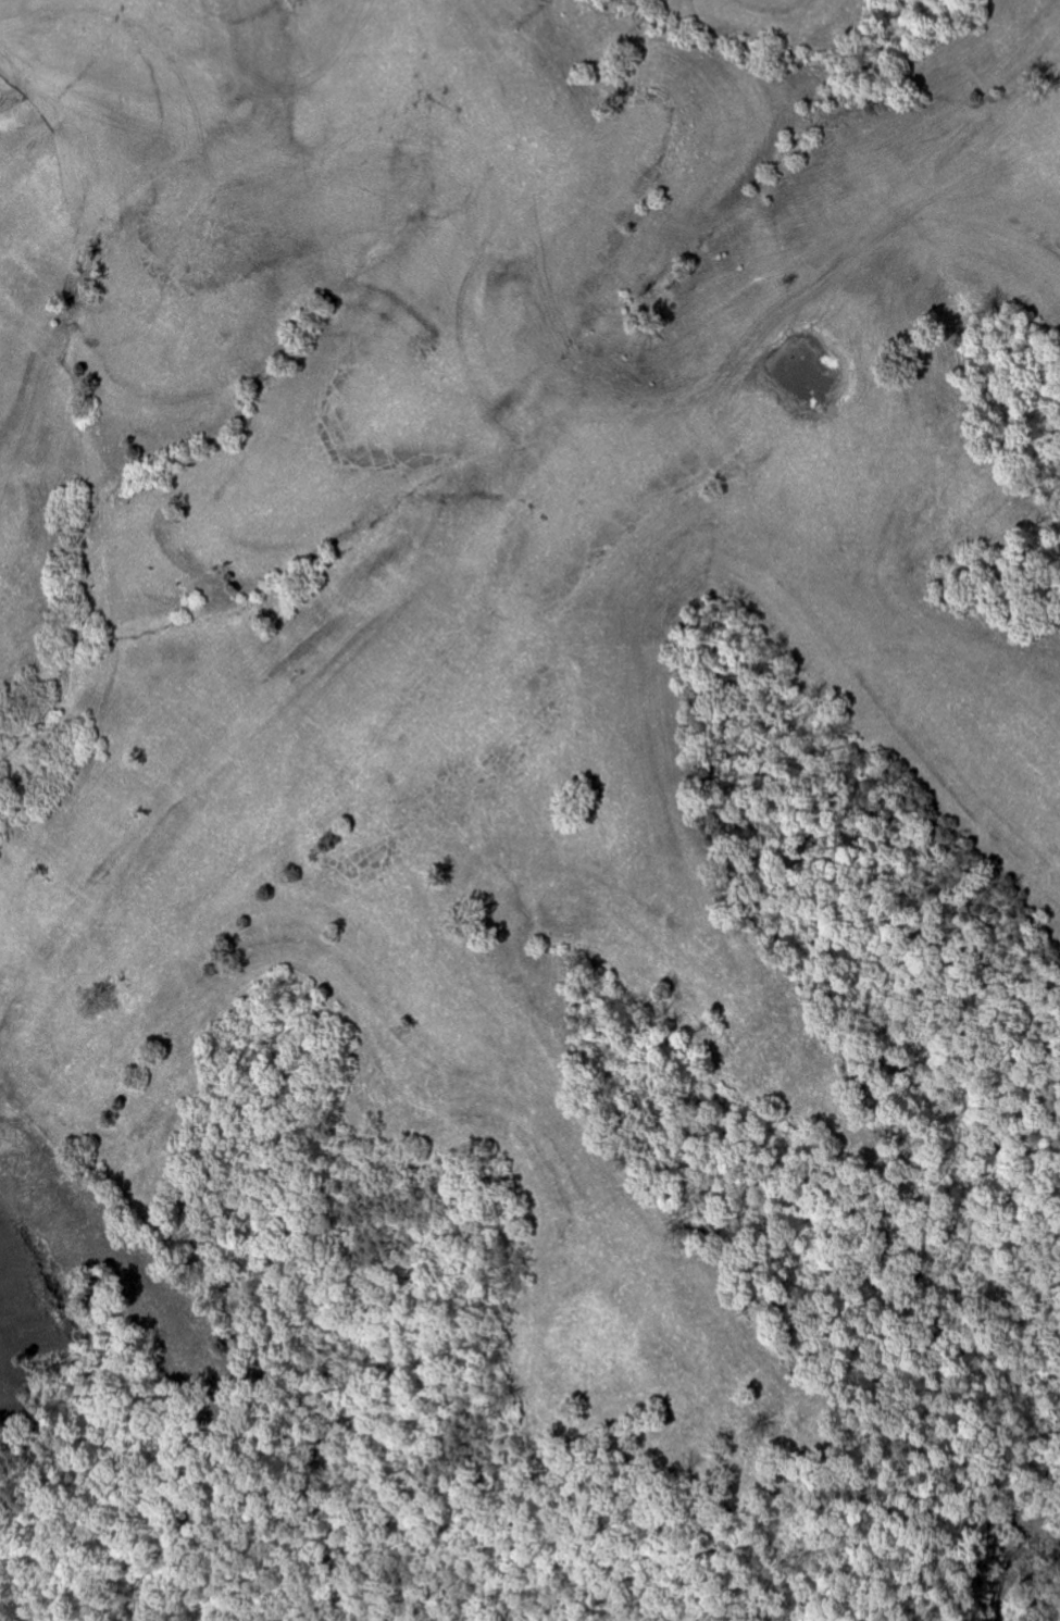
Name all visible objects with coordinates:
road: (1042, 1593)

